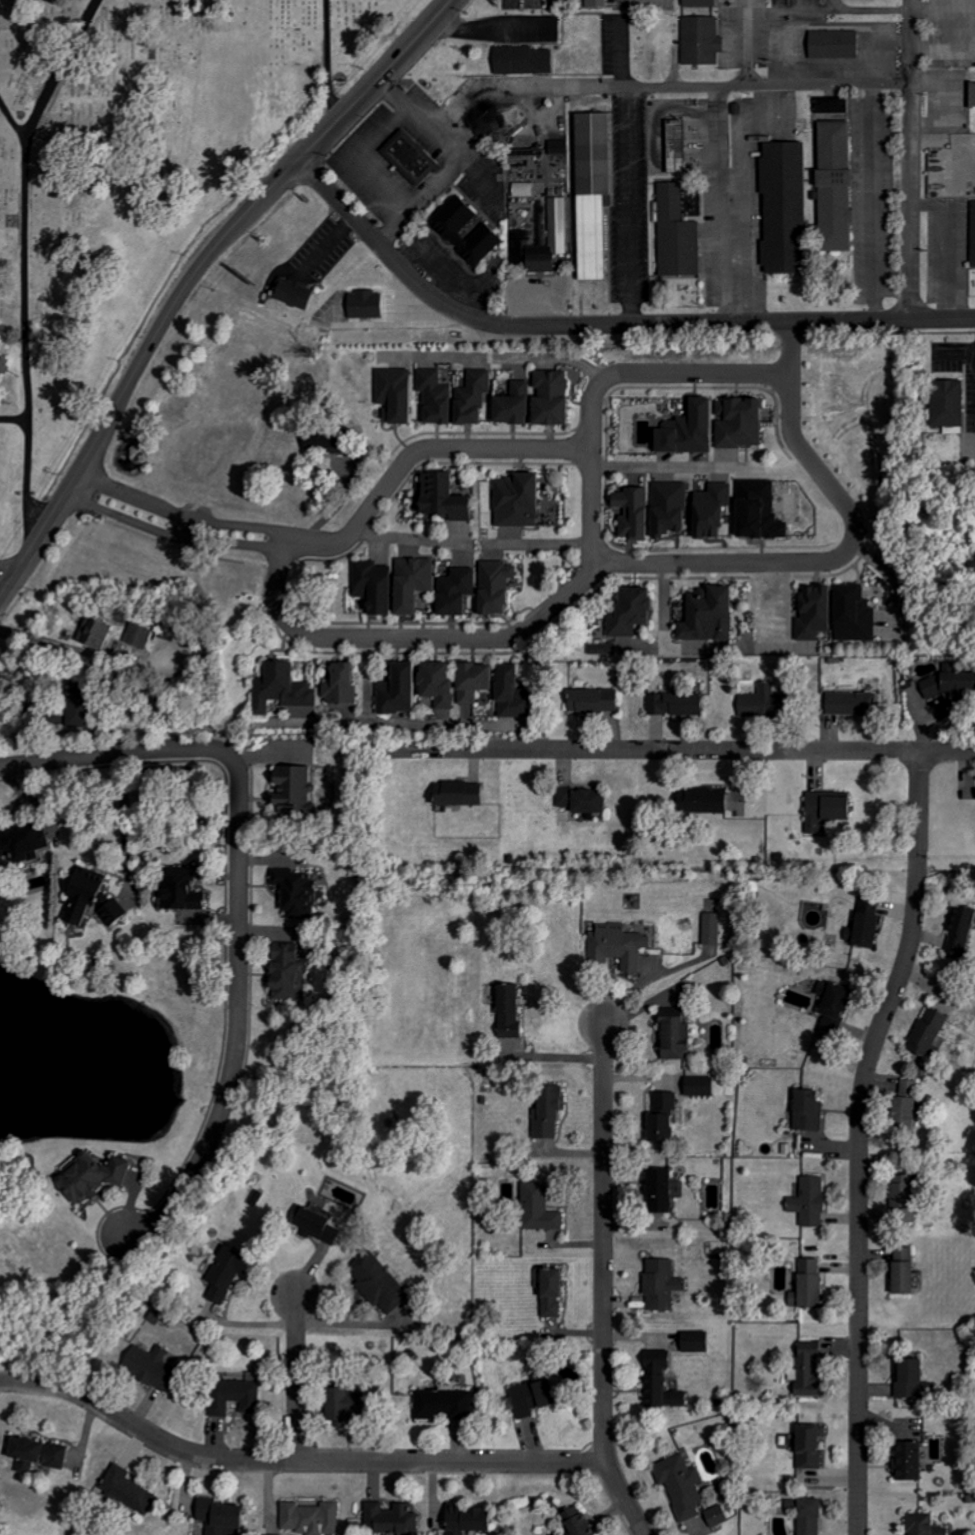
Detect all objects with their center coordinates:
building: (600, 3)
building: (704, 3)
building: (705, 41)
road: (750, 42)
building: (839, 44)
road: (324, 59)
building: (527, 60)
road: (372, 80)
road: (747, 85)
road: (466, 101)
building: (835, 106)
road: (10, 118)
building: (681, 146)
building: (561, 148)
building: (415, 158)
road: (911, 161)
park: (136, 181)
building: (841, 187)
road: (432, 188)
building: (526, 190)
building: (600, 192)
road: (627, 206)
building: (790, 208)
building: (457, 226)
road: (222, 231)
building: (680, 235)
building: (555, 236)
road: (22, 259)
building: (301, 293)
building: (370, 305)
road: (602, 327)
road: (790, 351)
building: (6, 367)
building: (401, 395)
road: (115, 397)
building: (459, 398)
building: (543, 401)
road: (790, 403)
building: (953, 404)
building: (720, 427)
building: (333, 440)
road: (657, 468)
building: (453, 498)
building: (523, 502)
road: (588, 506)
building: (676, 509)
building: (639, 512)
building: (720, 512)
building: (765, 512)
road: (34, 535)
road: (471, 543)
road: (8, 565)
building: (400, 586)
building: (502, 588)
building: (463, 592)
building: (638, 613)
building: (821, 614)
building: (713, 615)
building: (860, 615)
building: (106, 633)
building: (144, 634)
road: (39, 640)
building: (607, 650)
building: (481, 679)
building: (348, 683)
building: (445, 683)
building: (947, 686)
building: (289, 687)
building: (405, 689)
building: (520, 692)
building: (599, 701)
building: (769, 702)
building: (858, 702)
building: (680, 703)
building: (85, 704)
road: (23, 708)
road: (676, 751)
building: (299, 788)
building: (463, 793)
building: (589, 799)
building: (713, 800)
building: (832, 809)
road: (121, 823)
building: (27, 842)
building: (184, 893)
building: (302, 893)
building: (89, 895)
road: (238, 904)
building: (117, 912)
building: (872, 921)
building: (715, 928)
building: (965, 932)
building: (622, 945)
building: (291, 971)
building: (838, 1005)
building: (515, 1010)
building: (935, 1030)
building: (680, 1036)
building: (705, 1086)
building: (915, 1102)
building: (813, 1110)
building: (554, 1112)
building: (668, 1116)
road: (860, 1139)
building: (98, 1177)
building: (666, 1190)
building: (910, 1193)
building: (813, 1201)
building: (544, 1208)
building: (324, 1226)
road: (604, 1242)
building: (912, 1271)
building: (231, 1272)
building: (383, 1282)
building: (666, 1284)
building: (813, 1285)
building: (557, 1291)
building: (159, 1316)
road: (347, 1325)
building: (701, 1342)
building: (155, 1366)
building: (812, 1370)
road: (294, 1376)
building: (915, 1377)
building: (666, 1383)
building: (240, 1397)
building: (537, 1398)
building: (356, 1403)
building: (447, 1405)
building: (815, 1447)
building: (49, 1453)
road: (293, 1459)
building: (913, 1461)
building: (685, 1485)
building: (131, 1489)
road: (625, 1498)
building: (226, 1516)
building: (720, 1516)
building: (815, 1516)
building: (314, 1518)
building: (394, 1518)
building: (474, 1520)
building: (581, 1522)
building: (927, 1525)

